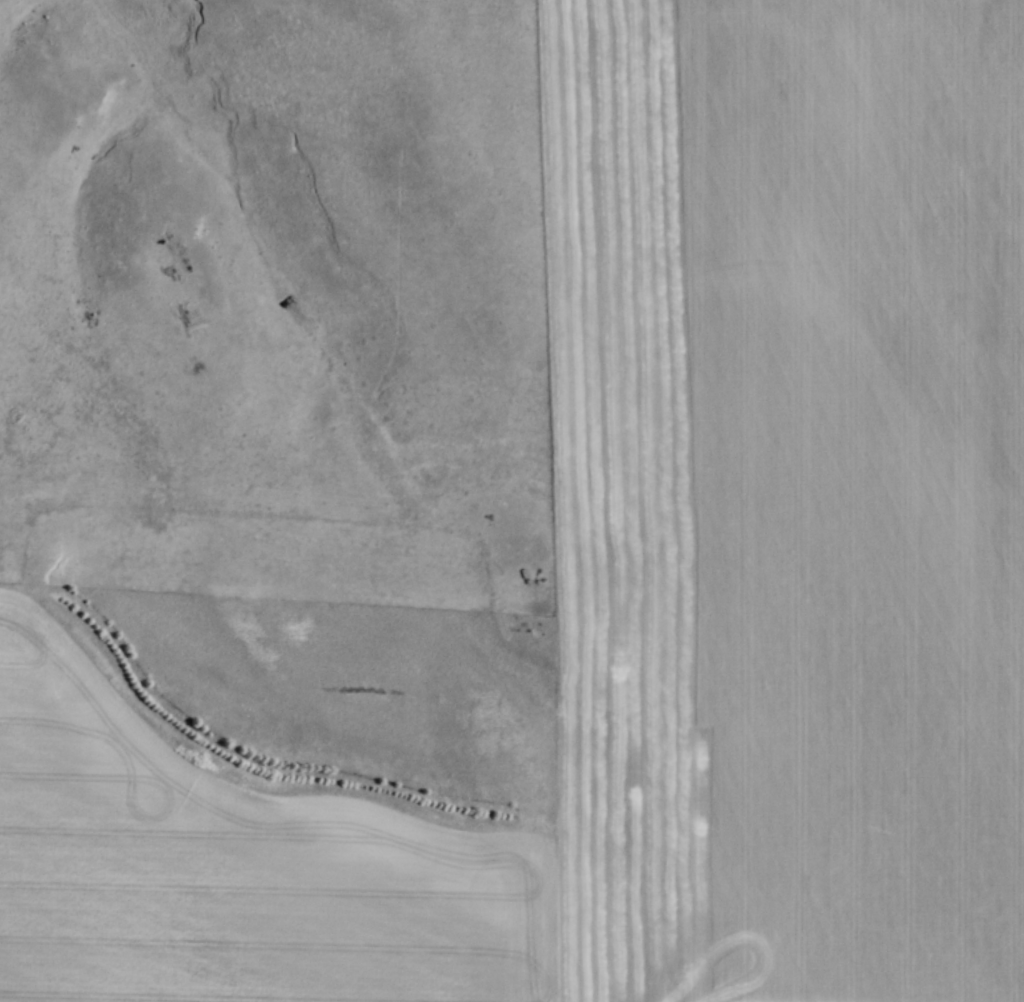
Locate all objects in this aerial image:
crop: (662, 579)

